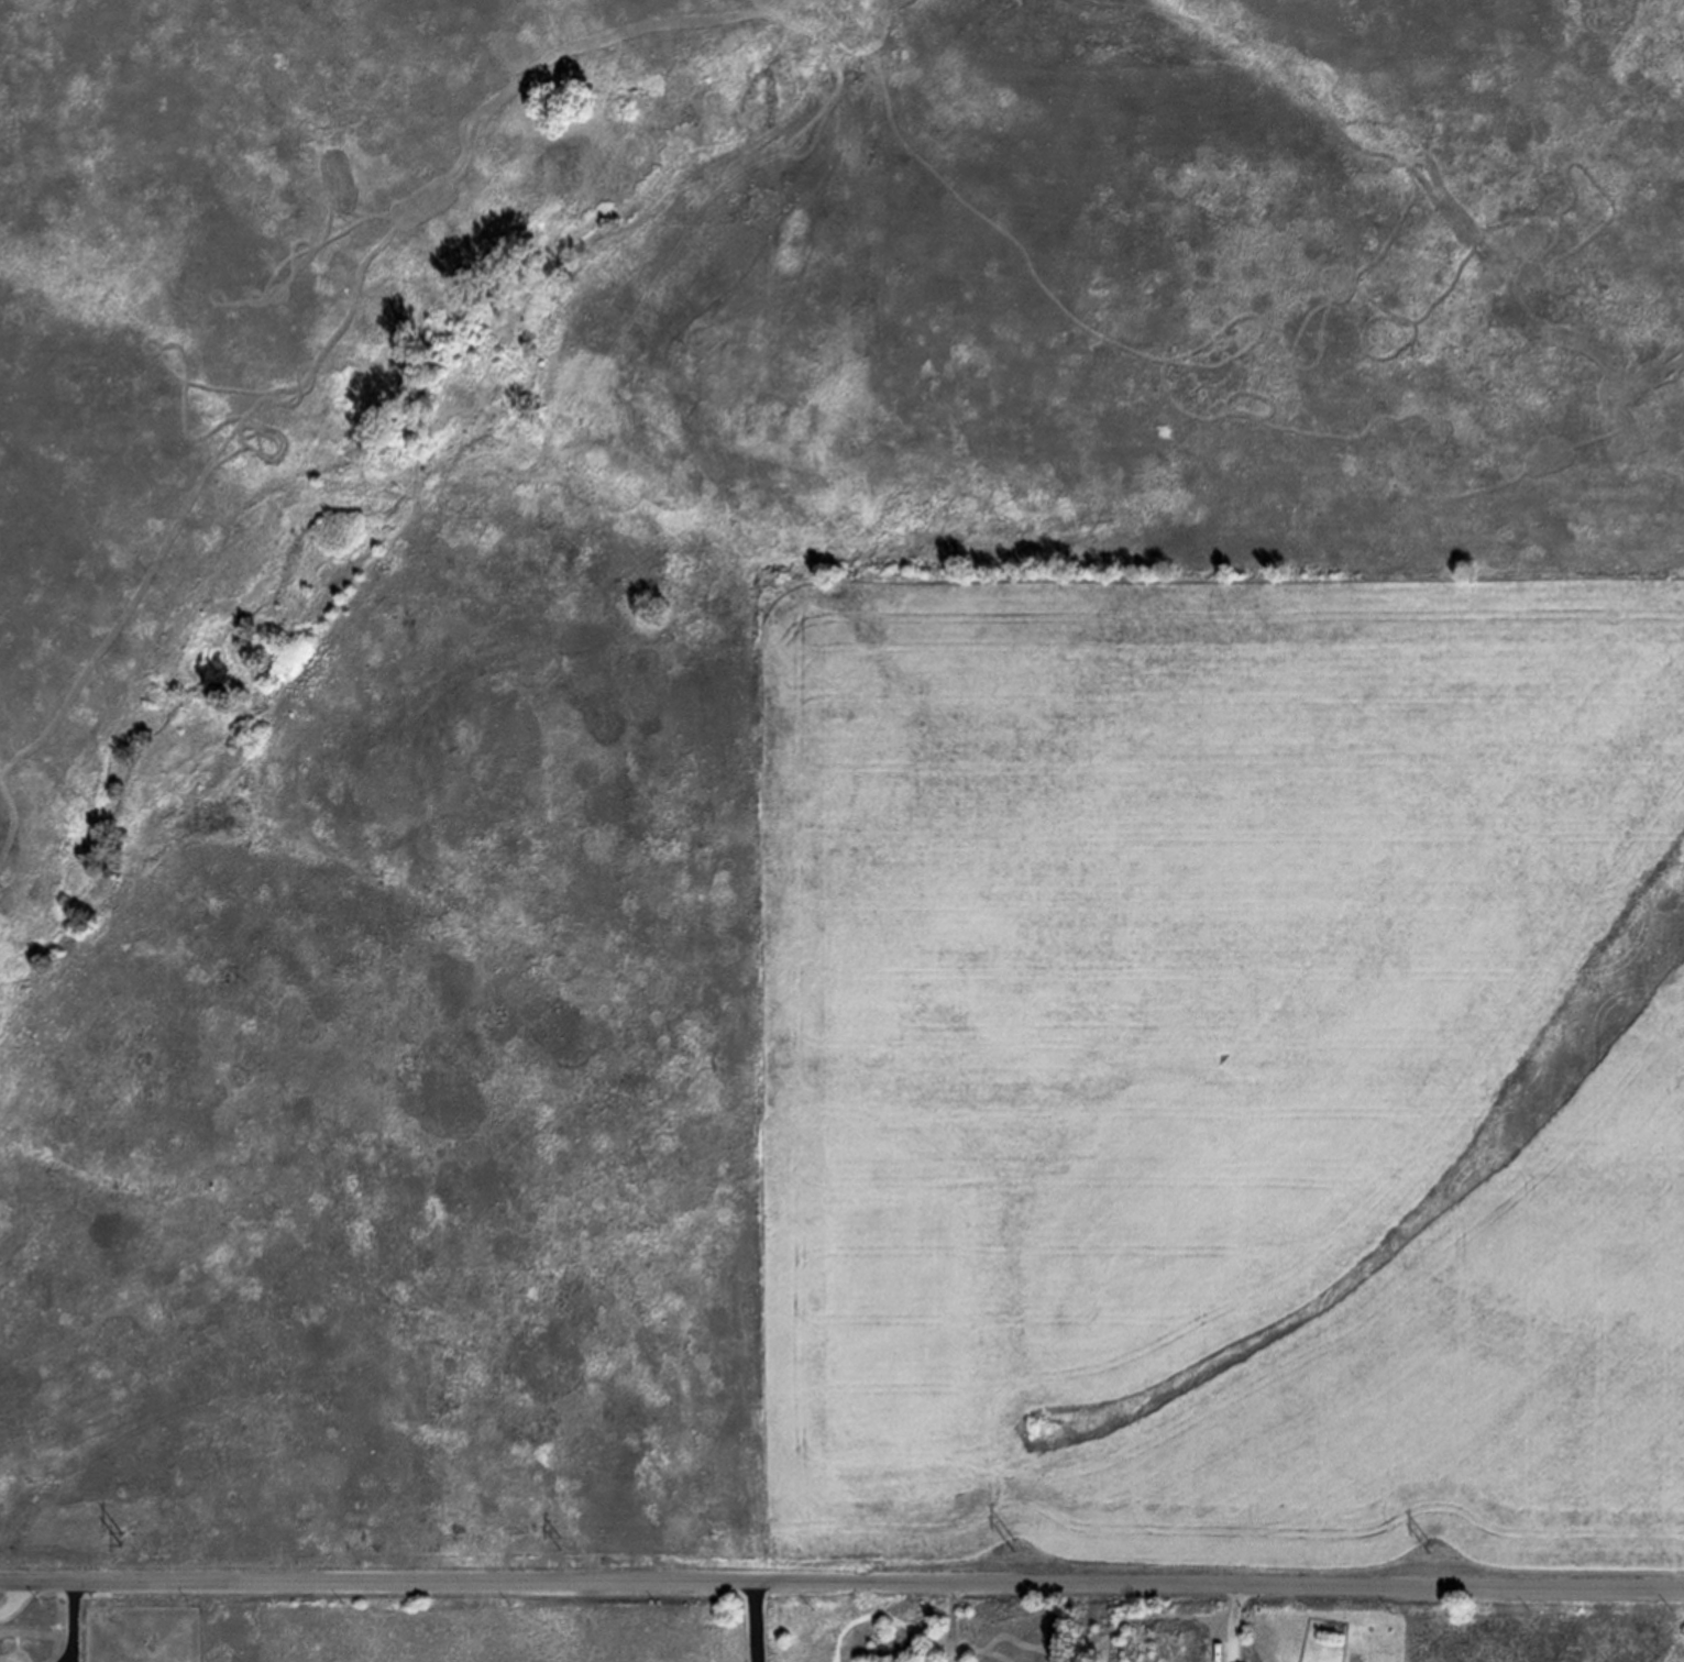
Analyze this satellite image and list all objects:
road: (841, 1582)
road: (16, 1602)
road: (955, 1620)
road: (755, 1621)
road: (75, 1622)
road: (1239, 1624)
building: (1141, 1647)
building: (1164, 1647)
building: (1178, 1647)
building: (1196, 1647)
building: (1212, 1651)

